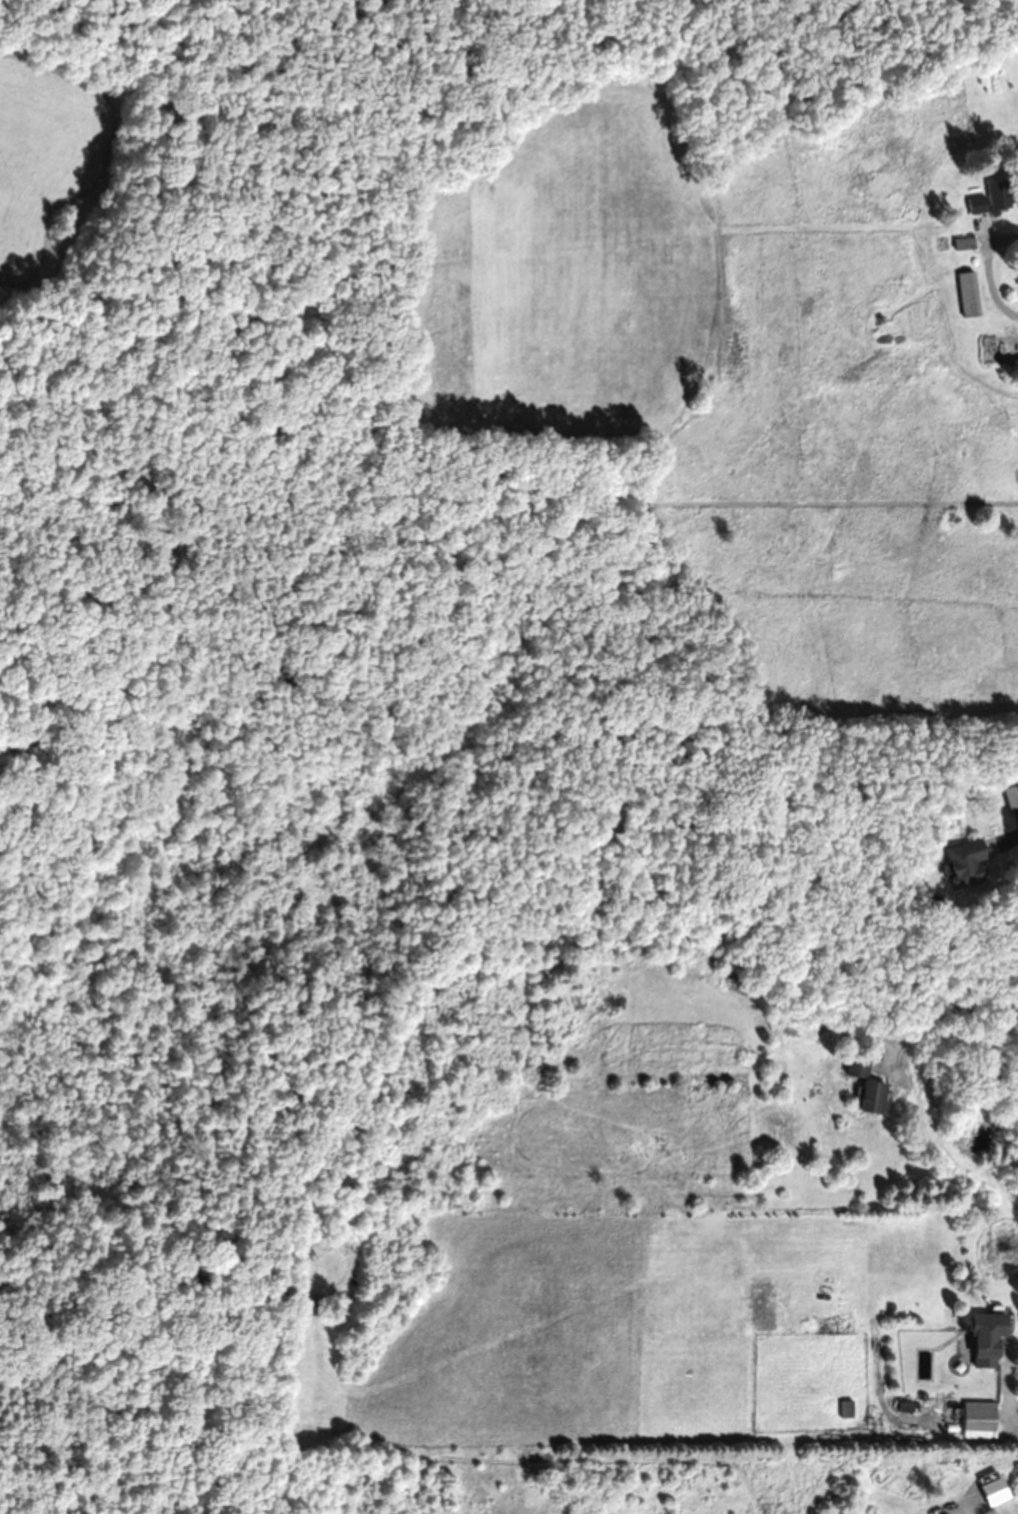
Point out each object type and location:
building: (995, 198)
building: (966, 243)
building: (970, 295)
building: (1013, 374)
building: (1012, 797)
building: (968, 863)
building: (740, 990)
building: (870, 1085)
building: (990, 1336)
building: (847, 1409)
building: (981, 1420)
building: (950, 1513)

